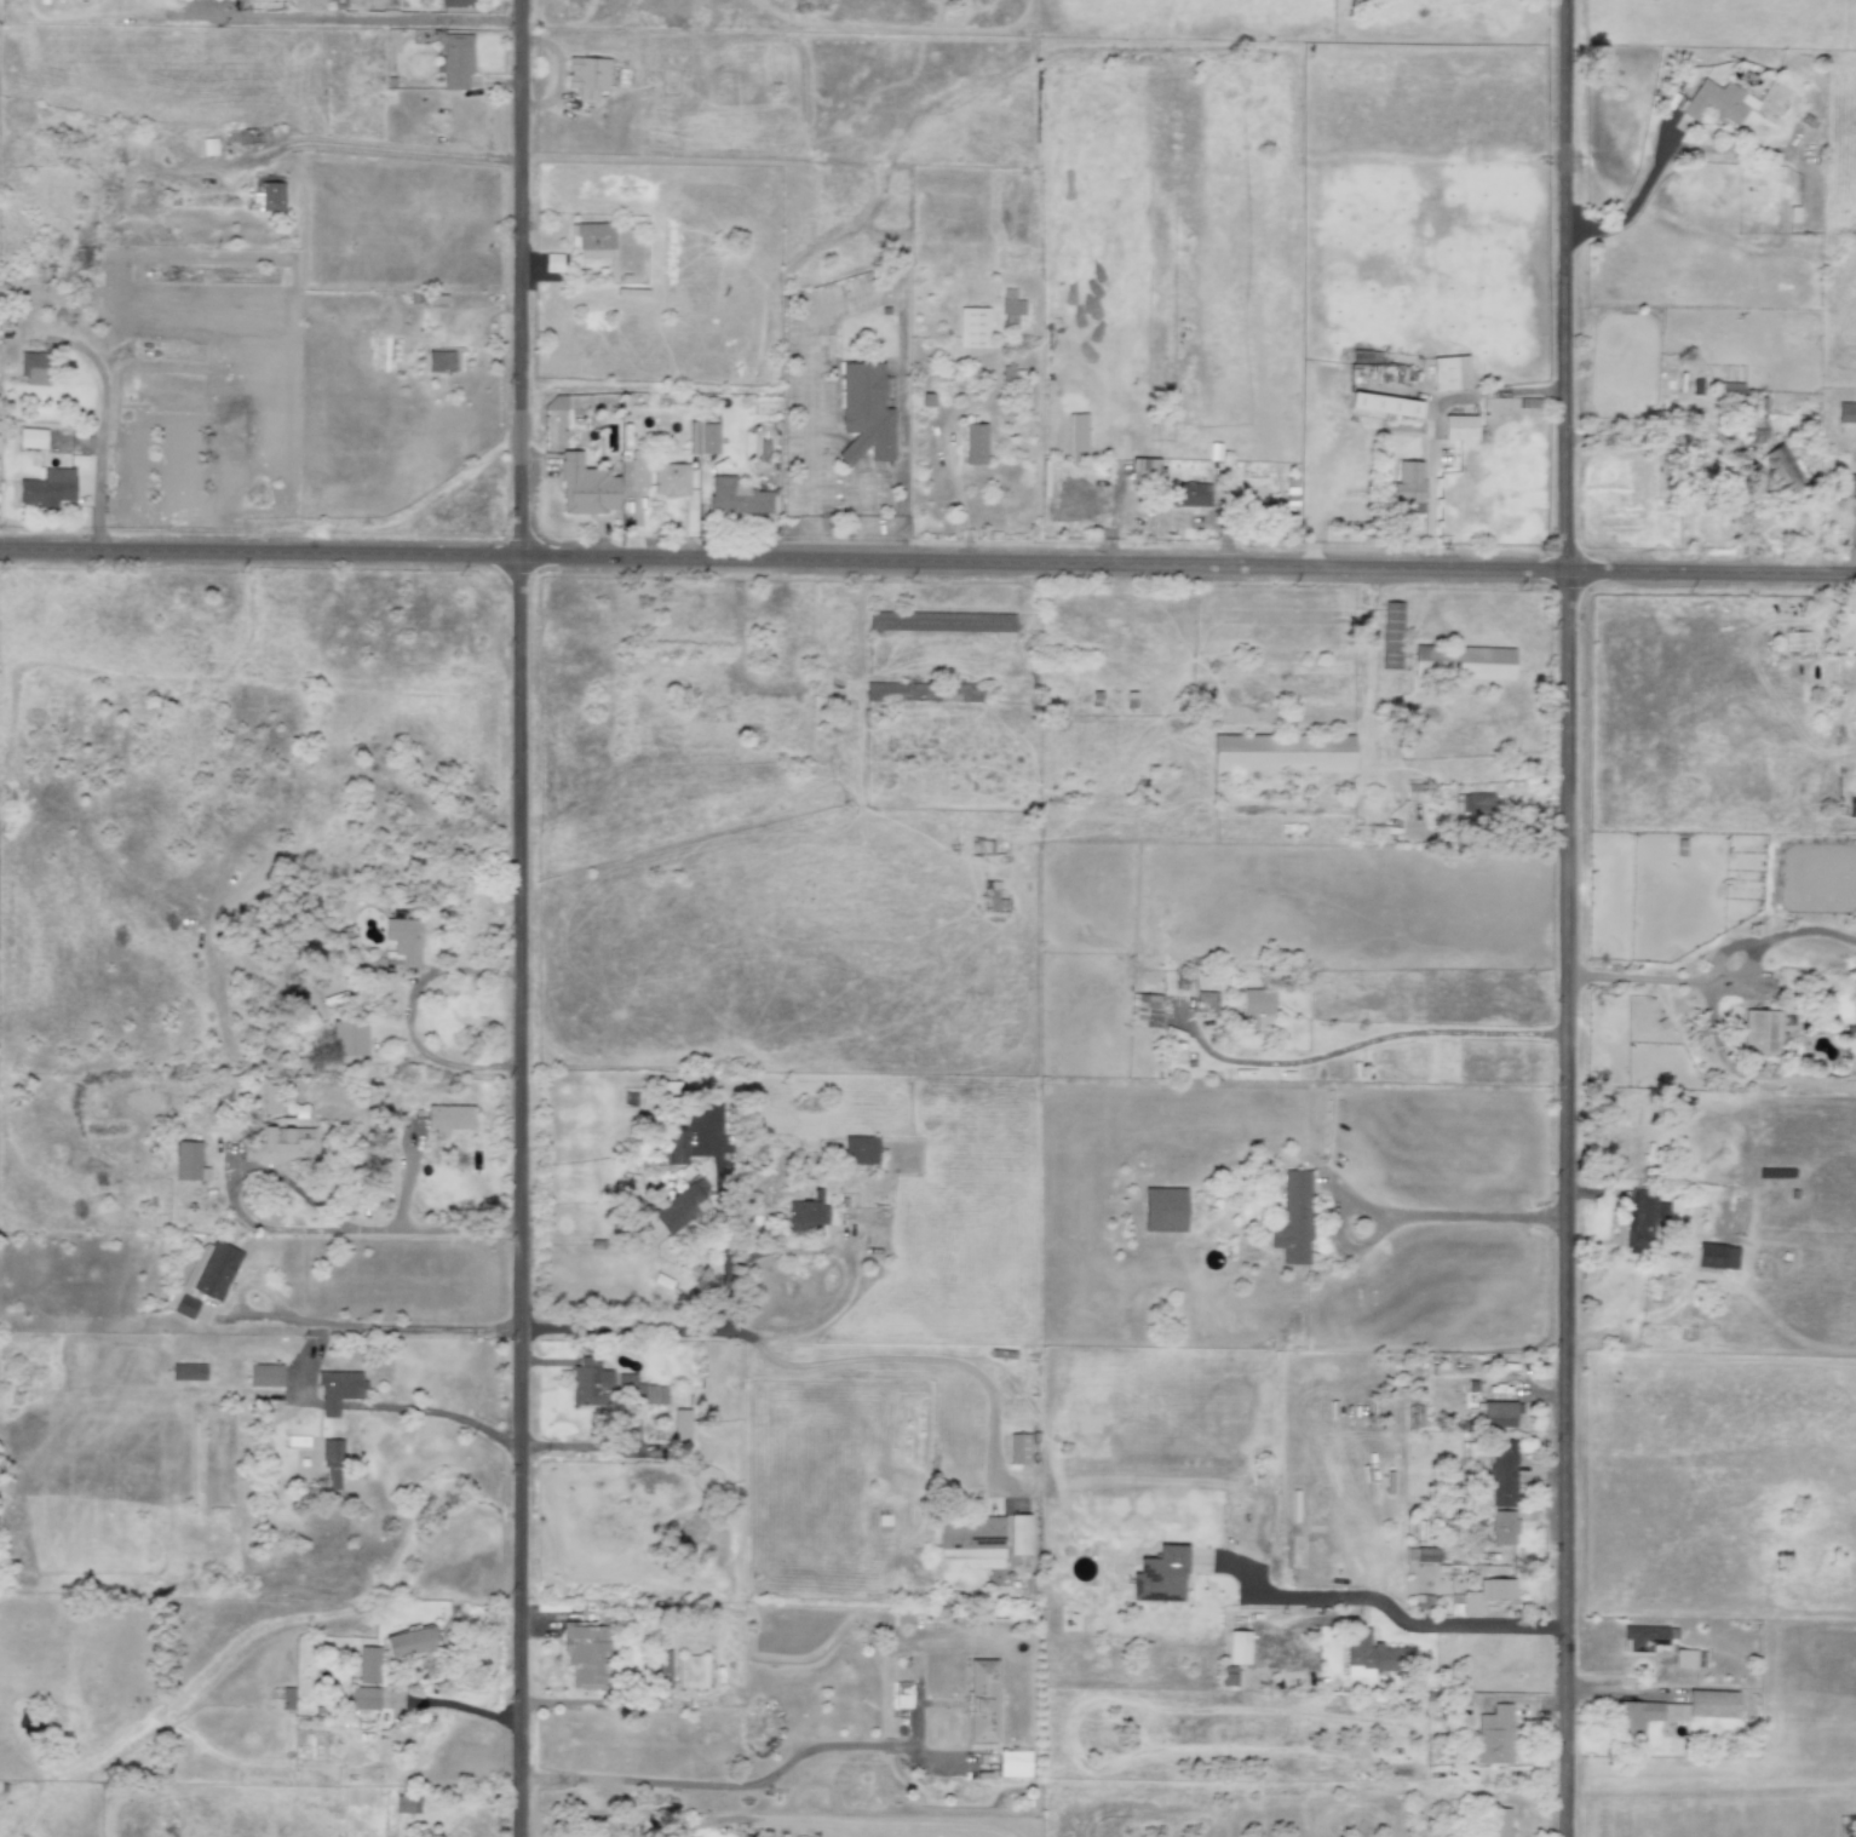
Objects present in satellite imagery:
building: (458, 2)
road: (349, 19)
building: (456, 61)
building: (586, 75)
building: (1717, 102)
building: (236, 137)
road: (404, 150)
building: (266, 193)
road: (1633, 209)
building: (592, 240)
building: (81, 258)
building: (552, 262)
building: (1010, 303)
building: (972, 327)
building: (439, 362)
building: (34, 369)
building: (1449, 372)
road: (812, 394)
building: (1384, 404)
building: (1845, 412)
building: (864, 413)
road: (102, 425)
building: (1459, 426)
building: (1751, 429)
building: (31, 438)
building: (708, 438)
building: (975, 443)
building: (1781, 469)
building: (638, 472)
building: (674, 477)
building: (1855, 482)
building: (585, 486)
building: (1408, 486)
building: (47, 487)
building: (1186, 494)
building: (736, 496)
road: (958, 504)
road: (927, 564)
building: (941, 621)
building: (1391, 635)
building: (1463, 662)
building: (1282, 753)
building: (1475, 804)
road: (518, 918)
road: (1571, 918)
building: (401, 945)
road: (1655, 980)
building: (1205, 1003)
building: (1257, 1009)
building: (1145, 1011)
road: (409, 1016)
building: (1760, 1032)
building: (347, 1038)
road: (1368, 1043)
building: (268, 1100)
building: (447, 1118)
building: (283, 1143)
building: (676, 1146)
building: (860, 1149)
building: (188, 1161)
building: (682, 1205)
road: (720, 1205)
building: (1163, 1210)
building: (808, 1213)
road: (1460, 1217)
building: (1642, 1217)
building: (1293, 1218)
road: (283, 1228)
road: (827, 1250)
building: (1716, 1256)
building: (206, 1276)
road: (383, 1327)
road: (634, 1332)
road: (916, 1360)
building: (188, 1372)
building: (264, 1374)
building: (590, 1383)
building: (338, 1389)
building: (638, 1391)
road: (442, 1412)
building: (1498, 1414)
building: (1017, 1448)
building: (332, 1464)
building: (1502, 1473)
building: (1502, 1527)
building: (1018, 1534)
building: (971, 1539)
building: (1426, 1555)
building: (1160, 1574)
building: (1486, 1594)
road: (1408, 1624)
building: (1643, 1637)
building: (409, 1643)
building: (1237, 1647)
building: (587, 1654)
building: (1373, 1655)
building: (1688, 1659)
building: (367, 1664)
building: (662, 1669)
building: (693, 1671)
building: (902, 1695)
building: (363, 1698)
building: (983, 1700)
road: (461, 1706)
building: (1673, 1710)
building: (1494, 1735)
building: (1015, 1763)
road: (718, 1784)
building: (407, 1803)
building: (1498, 1821)

